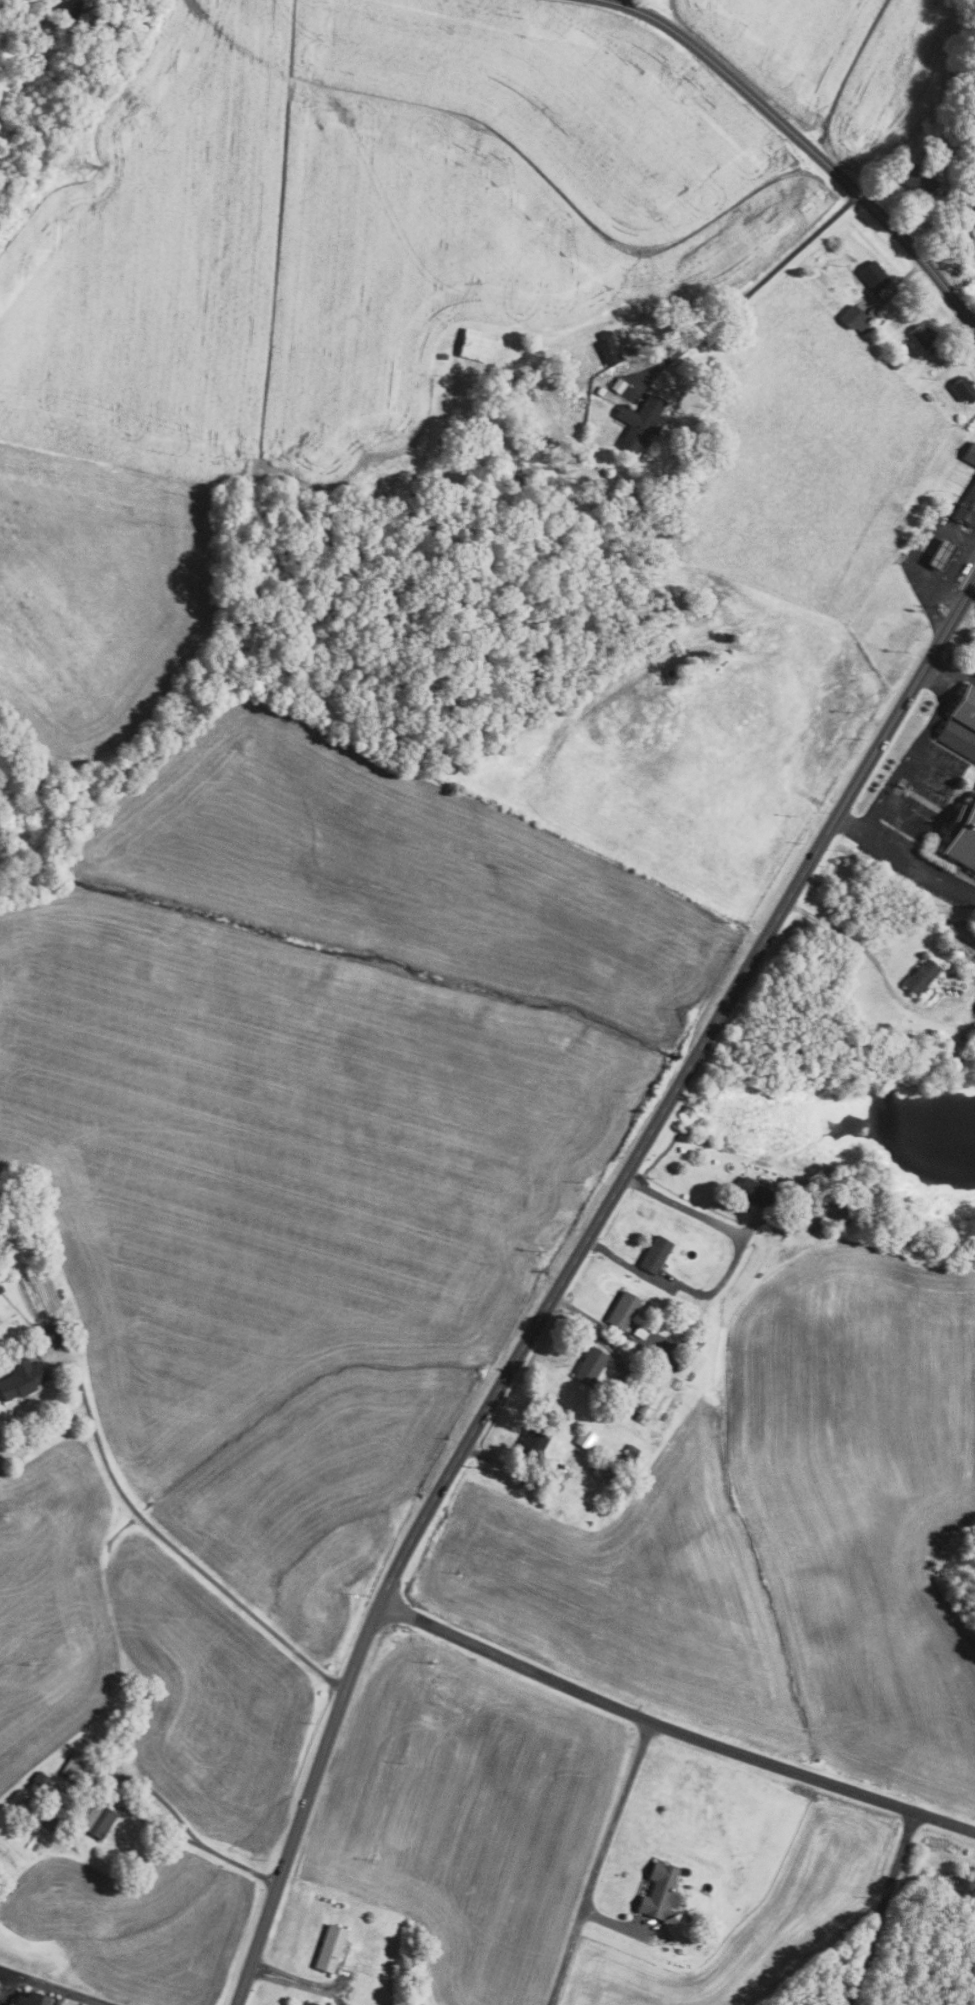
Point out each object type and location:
building: (78, 9)
crop: (838, 65)
road: (805, 146)
power tower: (85, 166)
building: (919, 180)
crop: (367, 226)
building: (874, 275)
building: (854, 318)
road: (704, 329)
building: (605, 335)
building: (922, 335)
building: (476, 344)
building: (608, 352)
building: (443, 355)
building: (896, 363)
building: (618, 385)
building: (964, 388)
building: (600, 390)
building: (927, 396)
building: (640, 421)
building: (970, 453)
building: (967, 507)
building: (935, 516)
building: (941, 554)
crop: (99, 596)
road: (960, 638)
building: (669, 672)
road: (948, 678)
building: (961, 725)
road: (905, 755)
building: (962, 837)
road: (904, 856)
road: (871, 959)
building: (921, 977)
building: (790, 1183)
building: (754, 1193)
building: (818, 1231)
building: (655, 1254)
road: (564, 1273)
road: (728, 1273)
building: (0, 1289)
building: (672, 1290)
building: (622, 1310)
building: (640, 1331)
building: (52, 1334)
building: (668, 1354)
building: (590, 1365)
building: (678, 1365)
building: (636, 1374)
building: (22, 1378)
building: (633, 1404)
building: (641, 1408)
building: (638, 1418)
building: (584, 1438)
building: (534, 1441)
building: (632, 1450)
road: (509, 1467)
building: (601, 1471)
road: (170, 1544)
building: (139, 1688)
road: (671, 1729)
building: (75, 1766)
building: (41, 1779)
road: (147, 1787)
building: (48, 1819)
building: (97, 1820)
road: (599, 1863)
road: (933, 1884)
building: (663, 1900)
building: (949, 1906)
road: (880, 1908)
building: (974, 1917)
road: (613, 1922)
building: (329, 1948)
building: (951, 1951)
road: (294, 1976)
road: (293, 1984)
road: (50, 1988)
building: (29, 1999)
building: (311, 2003)

